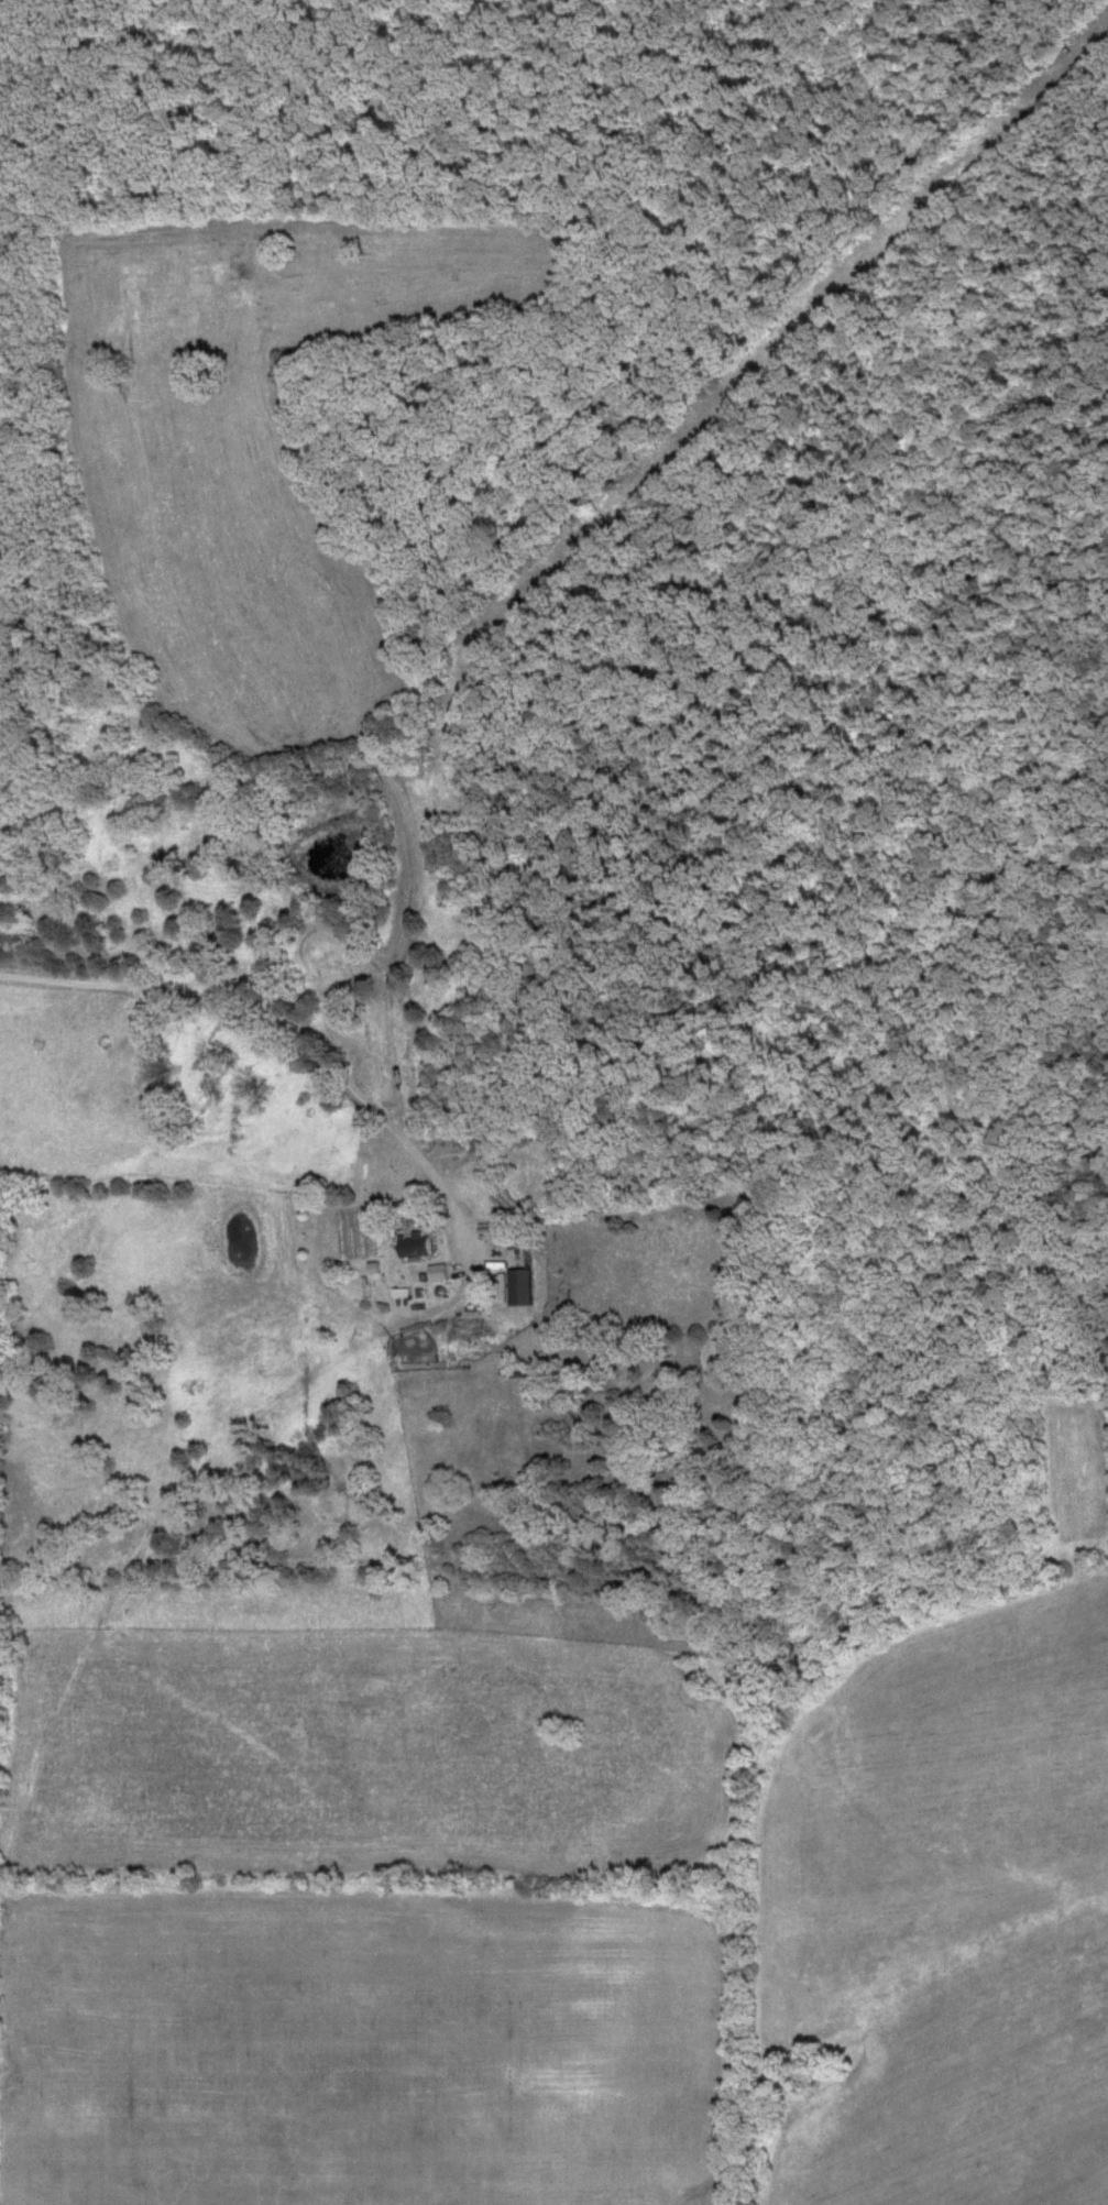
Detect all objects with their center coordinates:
road: (273, 1031)
building: (461, 1145)
building: (417, 1244)
building: (439, 1274)
building: (523, 1288)
building: (471, 1338)

